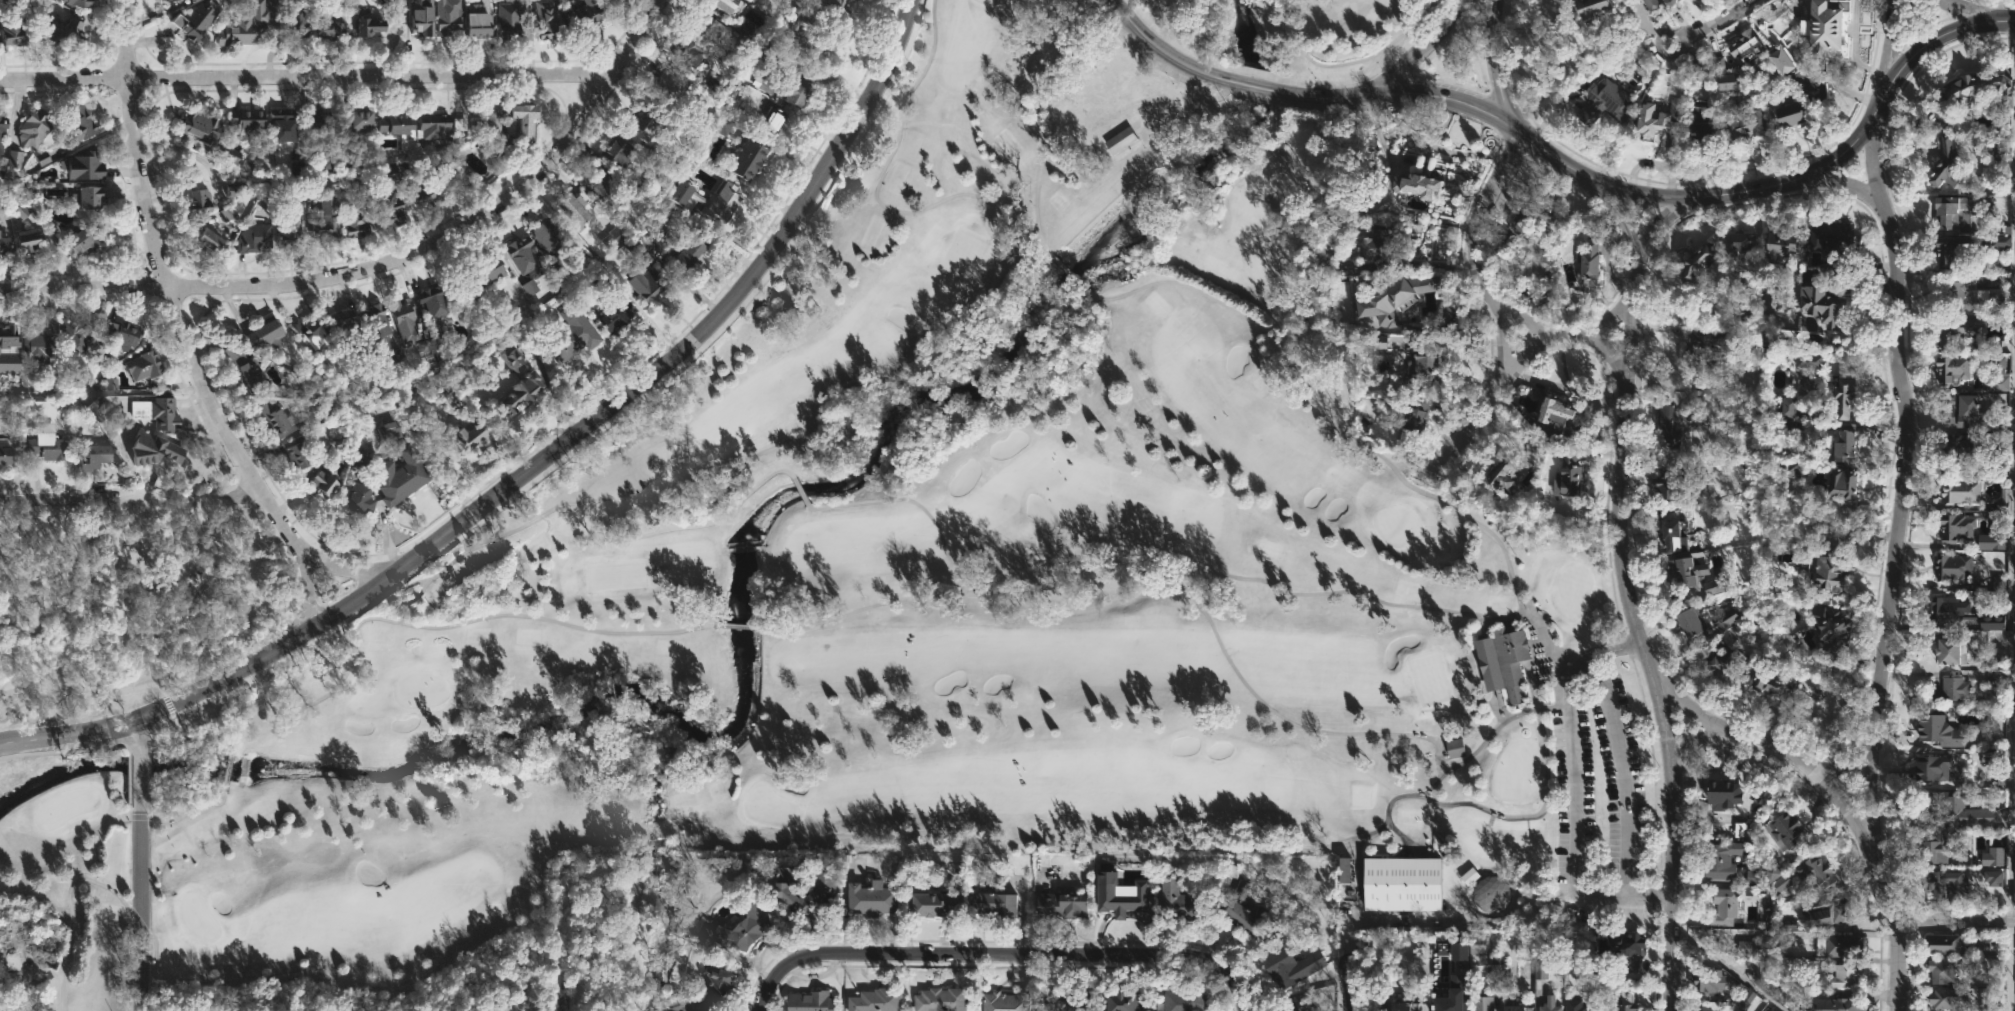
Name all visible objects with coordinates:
park: (983, 0)
building: (1670, 1)
building: (81, 2)
building: (616, 2)
building: (1651, 4)
building: (729, 5)
building: (1589, 6)
road: (1966, 13)
building: (792, 14)
building: (584, 15)
building: (447, 16)
building: (419, 18)
building: (198, 19)
building: (512, 19)
building: (551, 19)
building: (830, 20)
road: (1706, 22)
building: (300, 23)
building: (483, 23)
building: (244, 25)
building: (373, 25)
building: (709, 25)
building: (1822, 26)
building: (329, 27)
building: (17, 29)
building: (66, 33)
road: (1151, 44)
road: (1892, 44)
building: (1746, 45)
road: (1417, 47)
building: (689, 50)
building: (1782, 58)
building: (774, 59)
road: (1492, 61)
building: (1717, 62)
road: (1341, 63)
building: (1758, 67)
road: (305, 79)
building: (1726, 80)
road: (1289, 81)
road: (1241, 84)
building: (670, 87)
building: (798, 89)
building: (1978, 89)
building: (755, 96)
building: (1603, 102)
building: (1790, 113)
building: (247, 118)
building: (359, 119)
building: (1653, 119)
road: (1034, 120)
building: (496, 121)
building: (527, 121)
building: (771, 121)
building: (322, 122)
building: (1747, 122)
building: (82, 123)
building: (283, 124)
building: (200, 125)
building: (442, 125)
building: (1701, 125)
building: (37, 127)
building: (644, 127)
building: (401, 128)
building: (3, 129)
building: (488, 134)
building: (2001, 147)
building: (619, 154)
building: (753, 159)
building: (16, 160)
building: (1137, 162)
building: (1945, 162)
building: (87, 165)
building: (1416, 184)
building: (603, 185)
road: (1845, 187)
building: (459, 190)
building: (93, 196)
building: (424, 196)
road: (1666, 197)
building: (712, 199)
building: (196, 203)
park: (1248, 203)
building: (389, 207)
building: (576, 208)
building: (1954, 208)
road: (1884, 210)
building: (662, 214)
building: (353, 215)
building: (1528, 215)
building: (326, 220)
building: (289, 230)
building: (29, 231)
building: (550, 234)
building: (255, 237)
building: (612, 237)
building: (88, 238)
building: (1833, 238)
building: (212, 239)
building: (638, 241)
building: (1377, 241)
building: (1738, 242)
building: (1998, 243)
building: (5, 245)
building: (1778, 245)
building: (690, 249)
building: (1952, 250)
park: (963, 253)
building: (524, 254)
building: (1588, 261)
building: (1698, 261)
park: (1260, 267)
road: (1062, 268)
road: (392, 272)
building: (479, 274)
building: (650, 281)
building: (1395, 297)
building: (1965, 297)
building: (435, 301)
road: (979, 301)
building: (1822, 303)
road: (1498, 306)
building: (619, 311)
building: (405, 319)
building: (343, 320)
road: (1612, 320)
building: (374, 321)
building: (1954, 327)
building: (308, 328)
building: (574, 333)
road: (708, 333)
building: (130, 334)
building: (268, 334)
building: (10, 335)
building: (1829, 336)
building: (77, 337)
road: (184, 337)
road: (1566, 337)
building: (431, 344)
building: (1707, 346)
building: (39, 347)
building: (1995, 347)
road: (1524, 357)
building: (1426, 360)
building: (1809, 360)
building: (148, 365)
building: (1952, 367)
building: (253, 373)
building: (1997, 374)
building: (437, 383)
road: (1567, 386)
building: (527, 393)
building: (1844, 395)
road: (1325, 397)
building: (1786, 407)
building: (1807, 407)
building: (159, 411)
building: (1687, 412)
building: (1969, 412)
building: (1408, 418)
building: (1556, 418)
building: (277, 419)
building: (390, 430)
building: (1665, 430)
building: (473, 436)
building: (50, 445)
building: (1843, 448)
building: (1958, 450)
building: (297, 453)
building: (7, 456)
building: (97, 457)
building: (1671, 462)
building: (1790, 470)
building: (1498, 474)
building: (401, 476)
building: (1569, 476)
road: (534, 479)
building: (1843, 483)
building: (327, 484)
building: (1665, 486)
road: (799, 490)
building: (1961, 491)
building: (362, 498)
road: (131, 499)
building: (2003, 502)
road: (580, 505)
building: (1820, 523)
park: (1396, 526)
building: (1969, 529)
road: (2012, 536)
building: (1673, 537)
road: (1162, 565)
building: (1953, 567)
building: (1829, 571)
park: (614, 575)
building: (1682, 575)
park: (899, 581)
building: (1998, 583)
building: (1713, 586)
park: (1569, 590)
road: (307, 591)
park: (129, 600)
road: (1627, 604)
building: (1948, 609)
building: (1726, 619)
road: (1206, 620)
building: (1691, 623)
building: (1992, 623)
road: (747, 626)
road: (435, 627)
building: (1831, 630)
building: (1950, 650)
building: (1502, 661)
road: (1878, 661)
building: (1720, 664)
park: (1428, 679)
building: (1771, 680)
road: (208, 684)
park: (419, 689)
building: (1952, 690)
road: (1499, 707)
road: (1688, 709)
building: (1939, 729)
road: (139, 735)
road: (1747, 735)
building: (1455, 748)
road: (69, 752)
road: (228, 764)
building: (1931, 769)
road: (1623, 770)
road: (141, 781)
road: (128, 783)
road: (1574, 788)
building: (1723, 791)
building: (1760, 794)
park: (64, 806)
park: (768, 807)
building: (1958, 810)
road: (183, 812)
road: (1530, 816)
building: (1744, 819)
building: (1784, 830)
road: (650, 833)
building: (1936, 846)
building: (1992, 857)
building: (1719, 860)
building: (1815, 871)
building: (1379, 872)
building: (2014, 872)
road: (1357, 875)
building: (1417, 876)
building: (1753, 877)
building: (1992, 877)
building: (1778, 878)
building: (1935, 882)
building: (2014, 891)
building: (1118, 892)
building: (815, 893)
building: (870, 900)
building: (989, 901)
building: (1178, 902)
building: (935, 904)
building: (1060, 906)
building: (1722, 906)
building: (1241, 908)
road: (141, 910)
building: (1827, 910)
park: (196, 917)
road: (1953, 921)
road: (1351, 925)
building: (1789, 925)
building: (746, 929)
building: (1477, 943)
building: (1628, 943)
building: (1942, 944)
road: (1014, 945)
building: (1834, 947)
building: (1752, 948)
road: (1727, 965)
road: (2008, 966)
building: (1280, 967)
building: (1944, 969)
building: (1541, 970)
building: (1845, 976)
building: (1708, 980)
road: (1345, 983)
building: (711, 987)
building: (1786, 993)
building: (1948, 998)
road: (760, 999)
building: (874, 999)
building: (938, 999)
building: (1183, 1000)
building: (809, 1001)
building: (1004, 1001)
building: (1069, 1001)
building: (1119, 1001)
building: (1626, 1001)
building: (1481, 1003)
building: (1297, 1004)
building: (1398, 1004)
building: (1549, 1005)
building: (1836, 1005)
building: (1574, 1006)
building: (1701, 1007)
building: (1513, 1009)
building: (1772, 1009)

